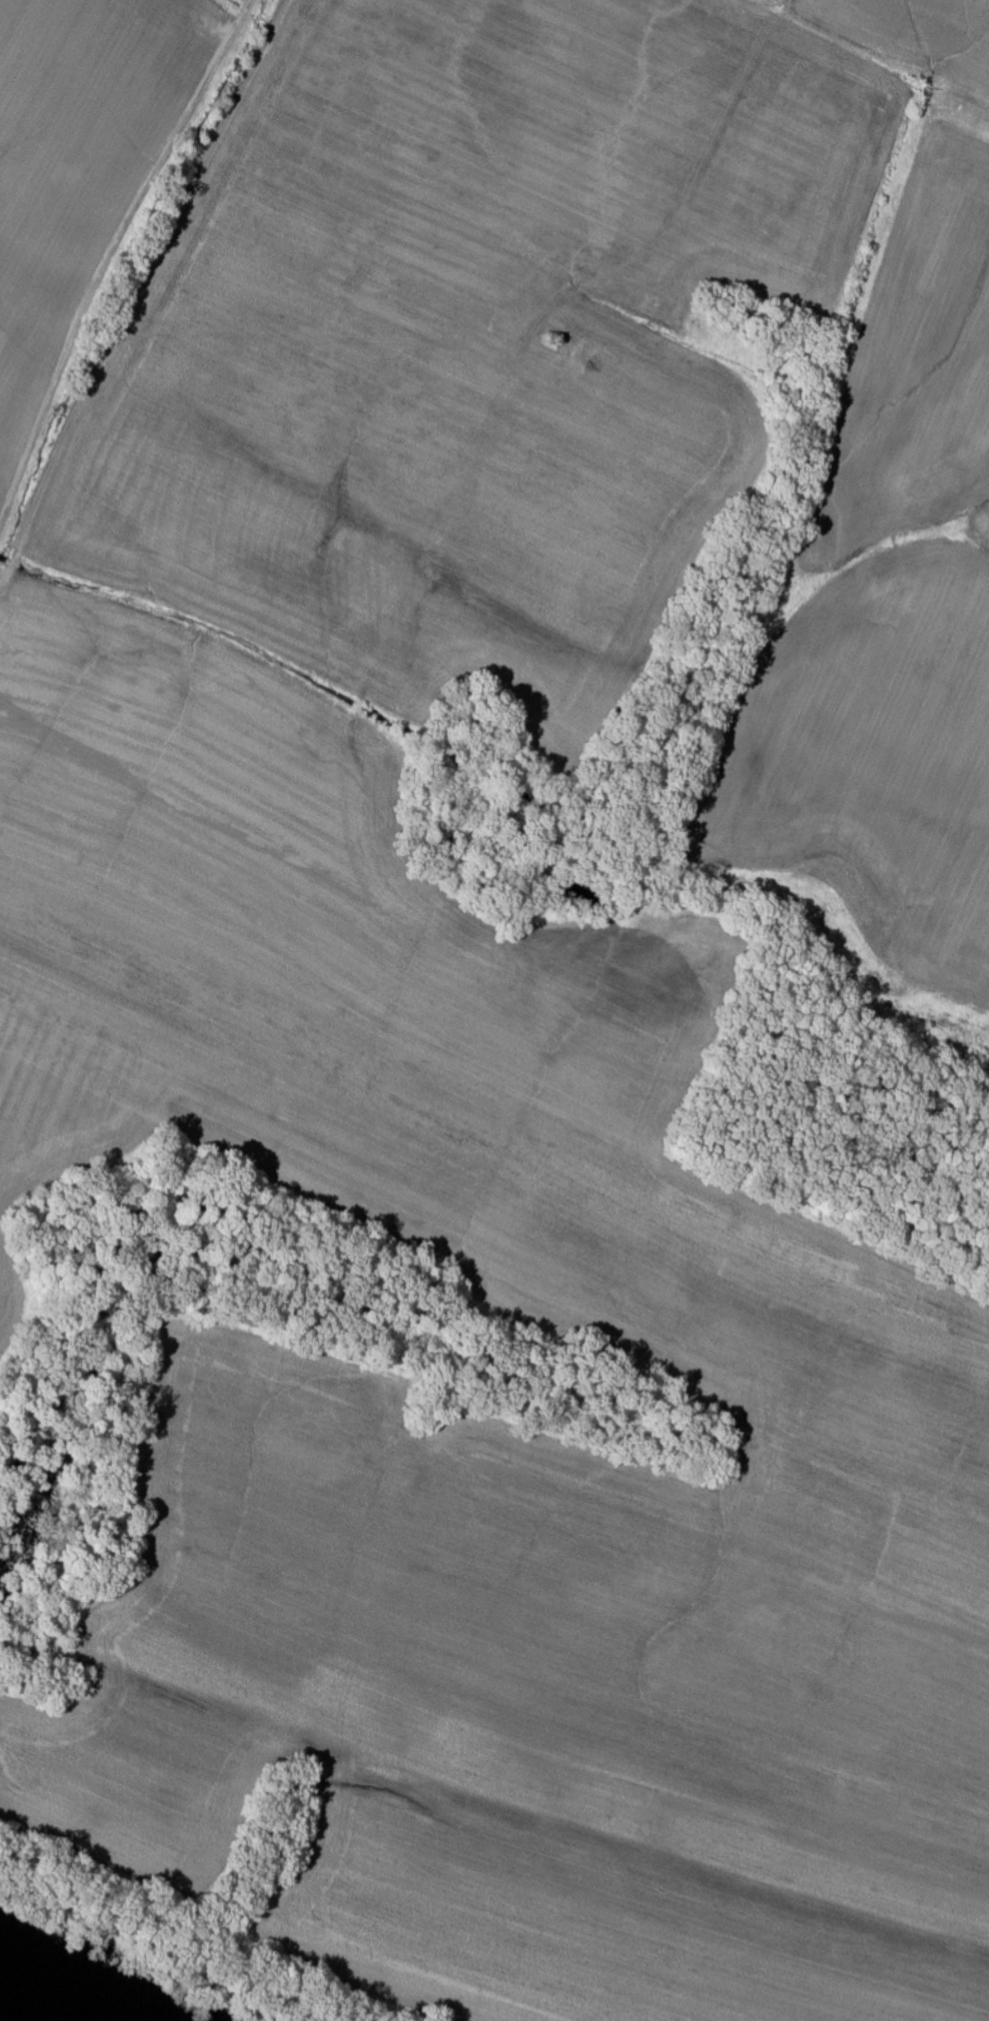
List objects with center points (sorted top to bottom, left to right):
river: (2, 2019)

